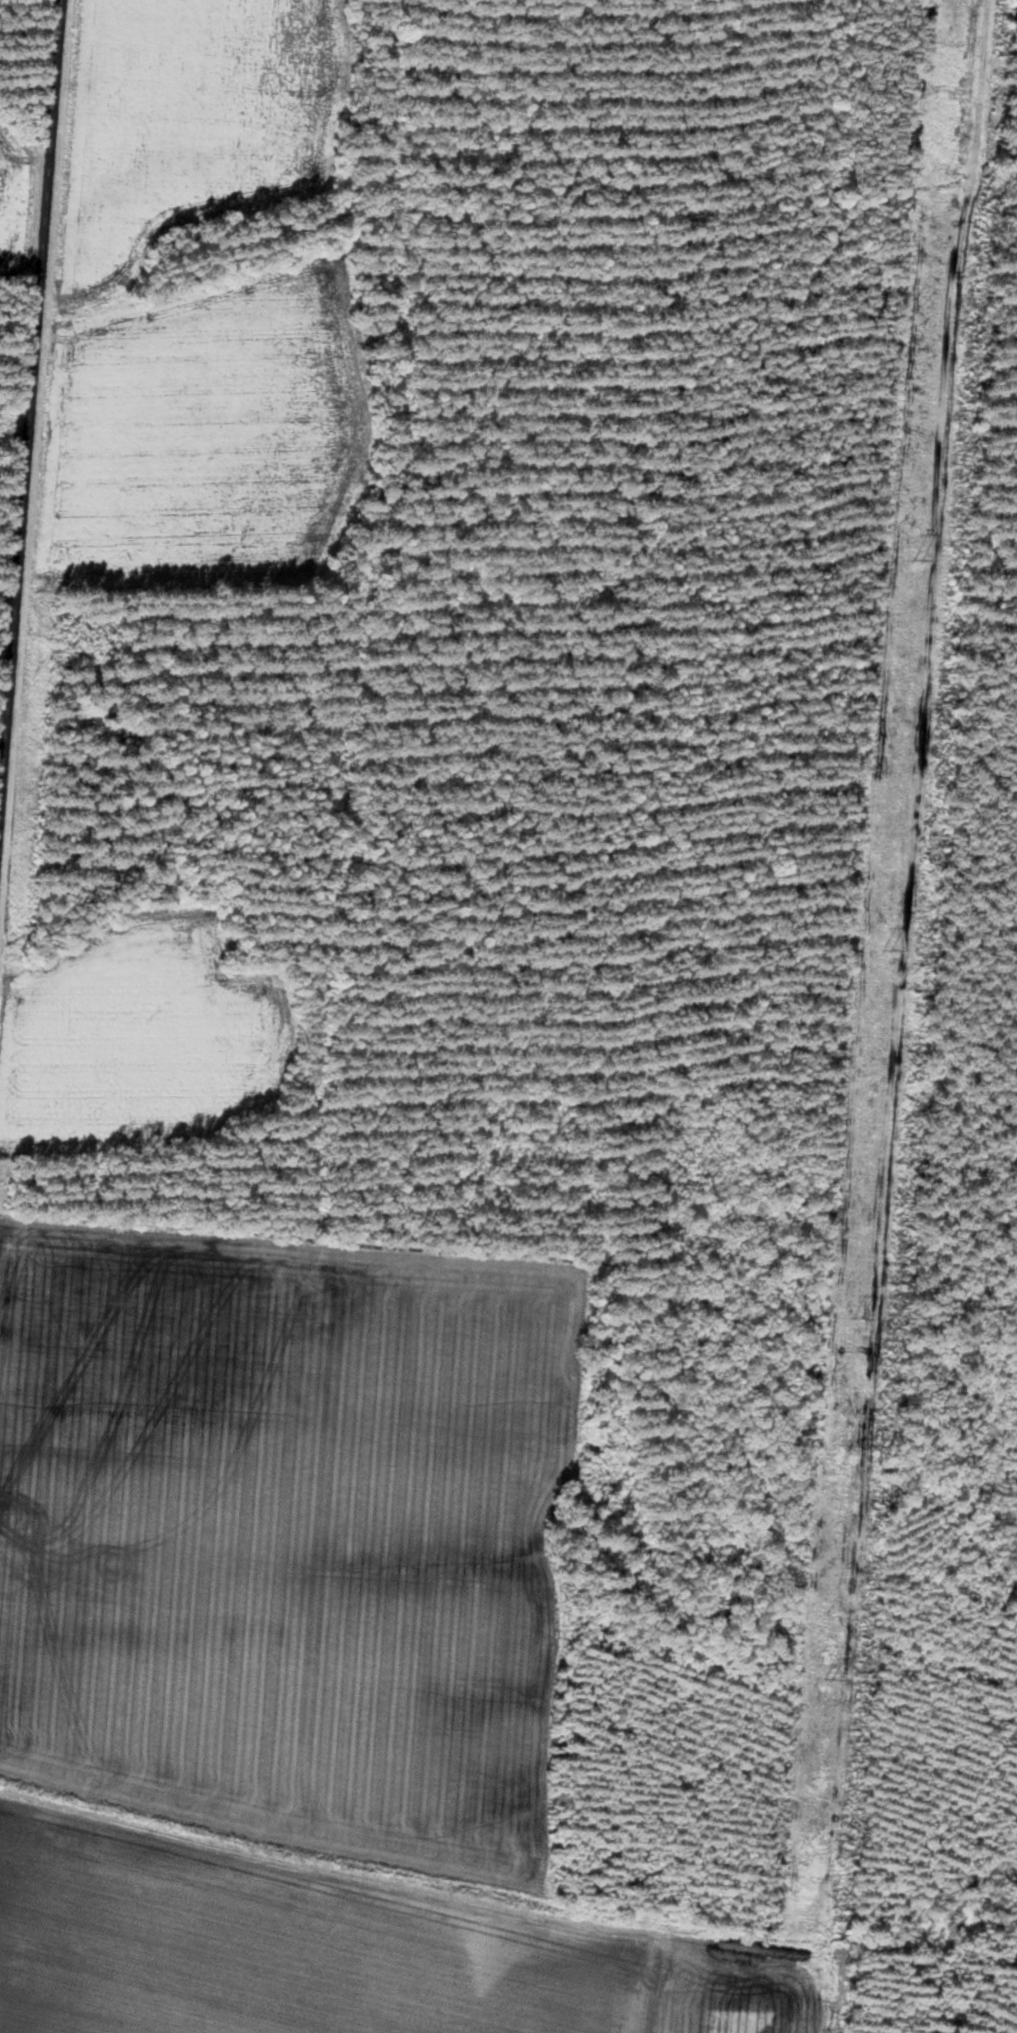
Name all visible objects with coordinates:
power tower: (950, 173)
road: (35, 443)
power tower: (919, 560)
power tower: (888, 948)
power tower: (859, 1317)
power tower: (830, 1679)

